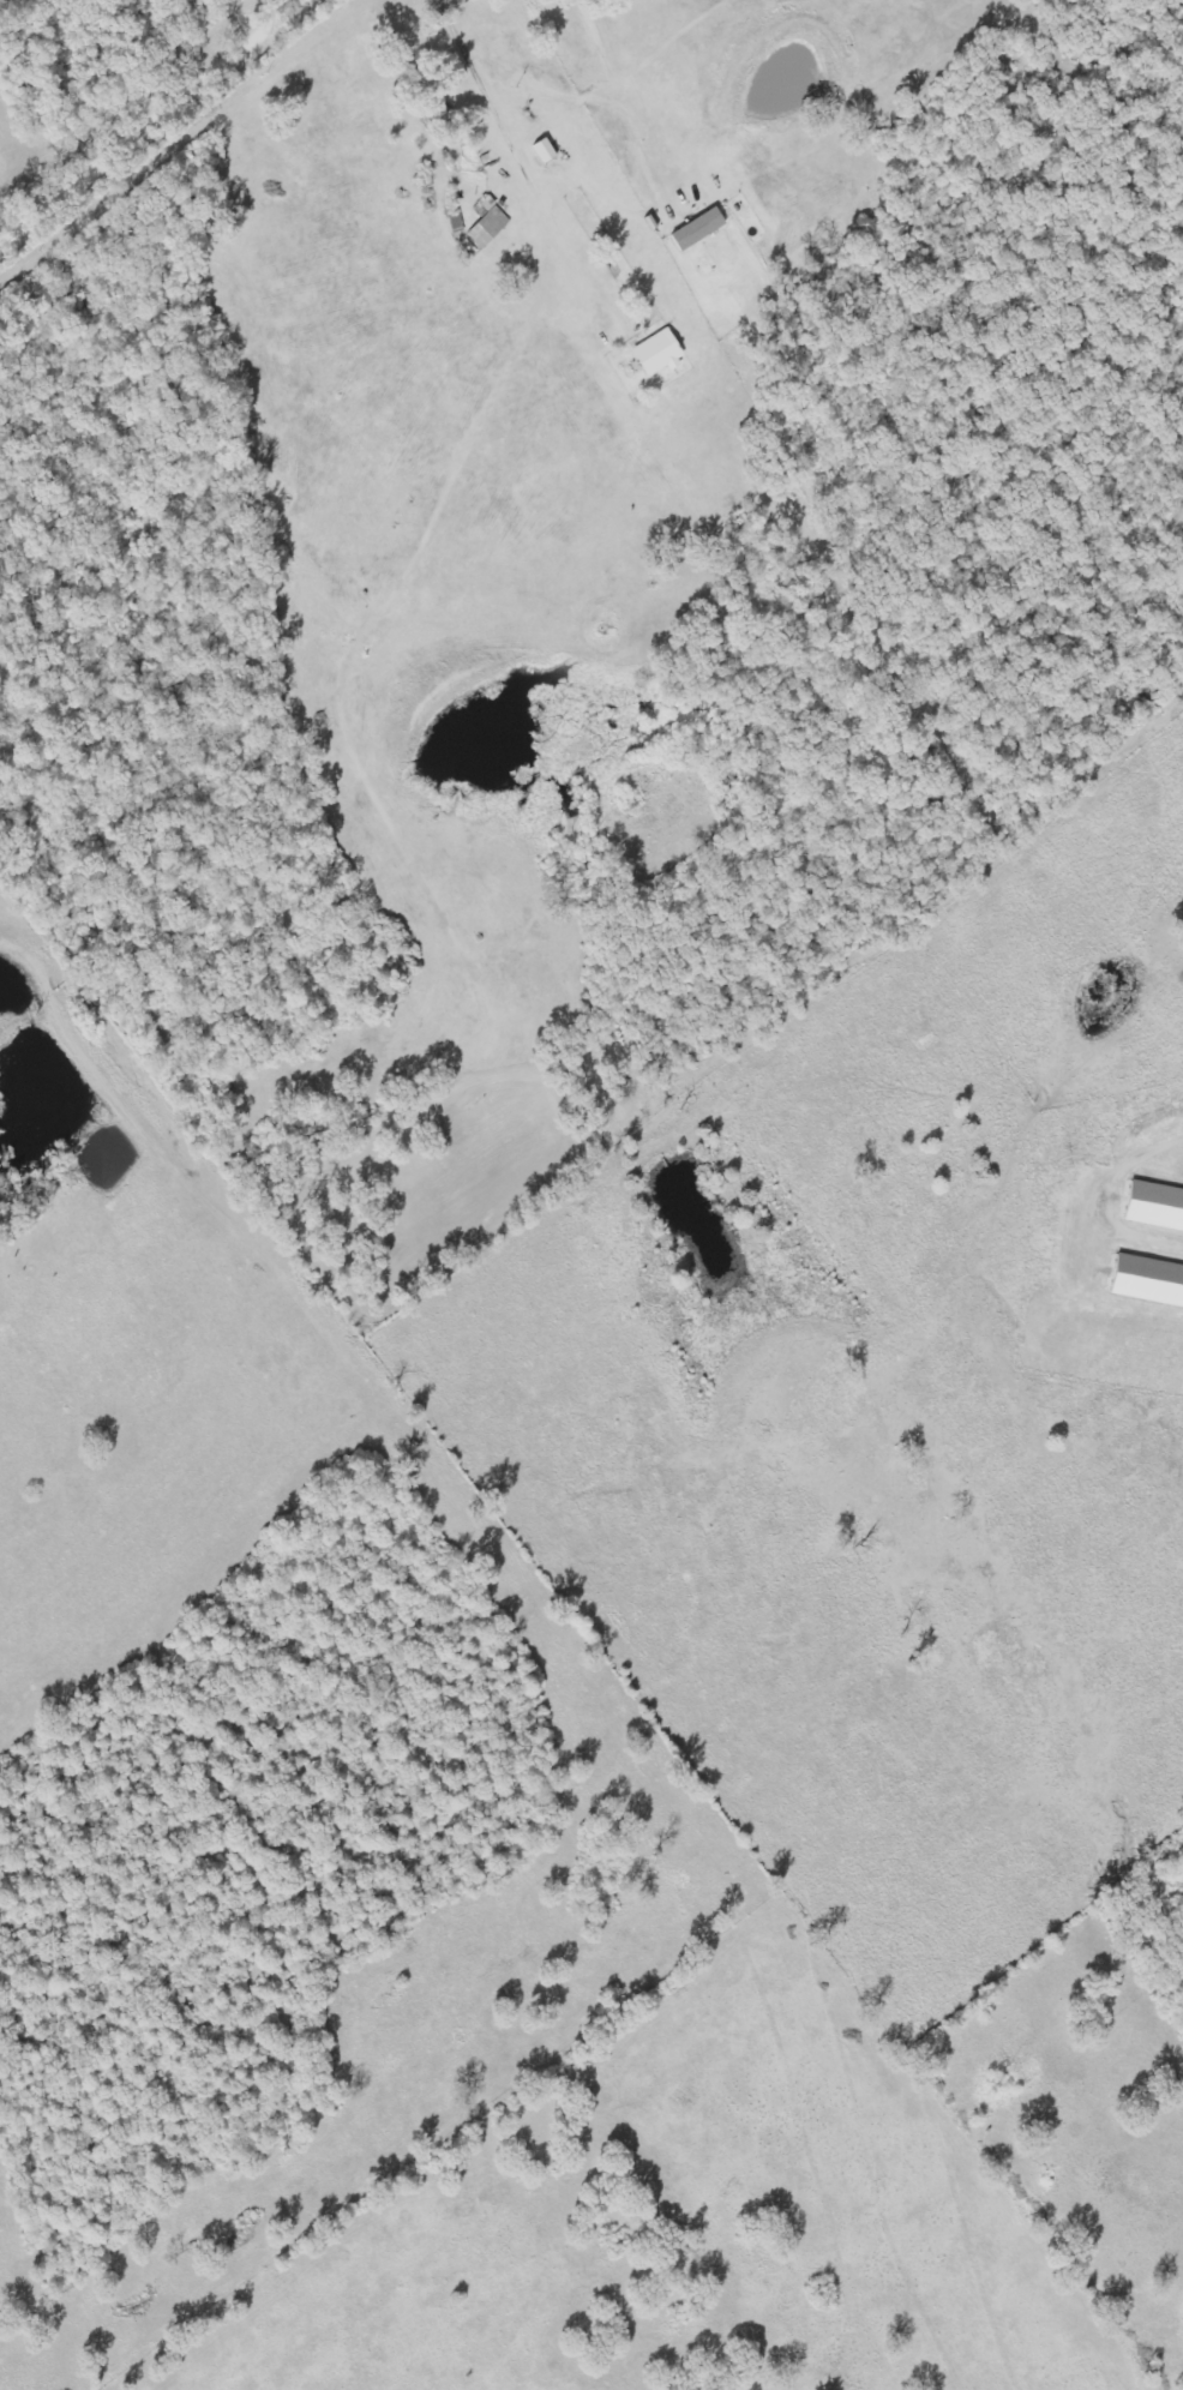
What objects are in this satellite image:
road: (151, 120)
building: (547, 151)
building: (490, 228)
building: (701, 229)
building: (661, 354)
building: (1157, 1208)
building: (1149, 1284)

